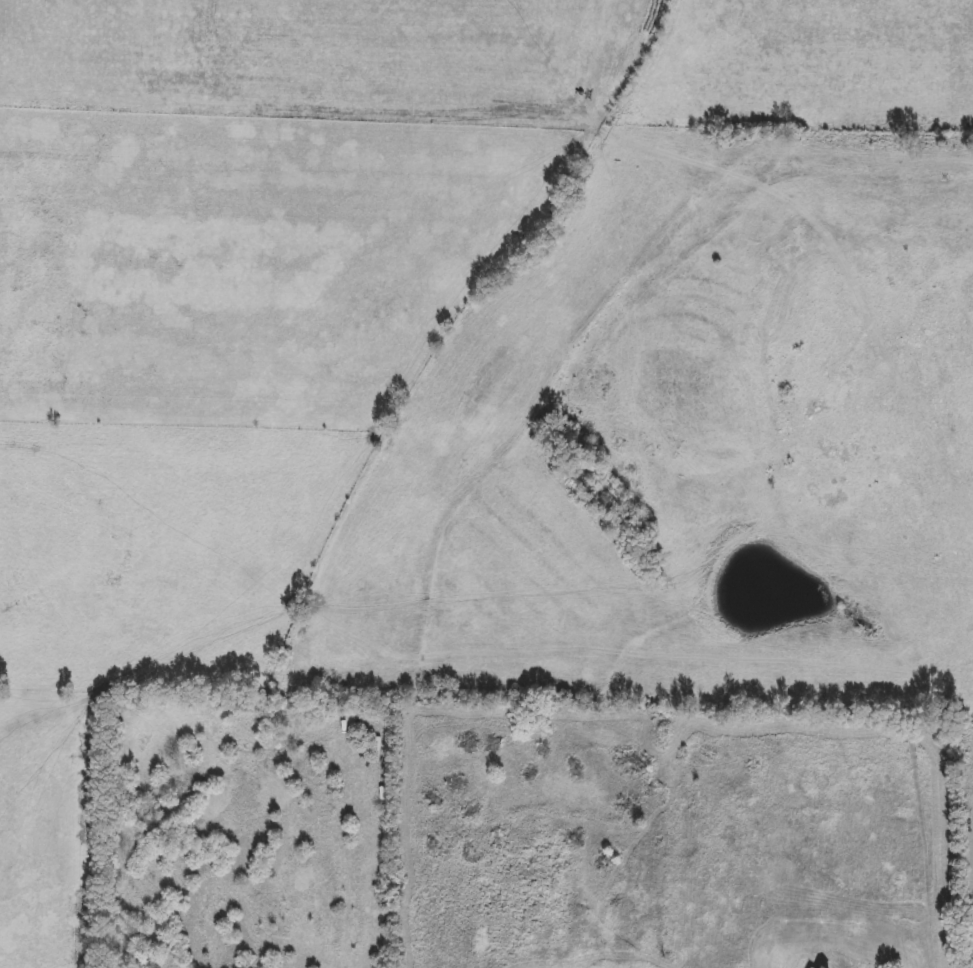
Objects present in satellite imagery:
building: (971, 750)

